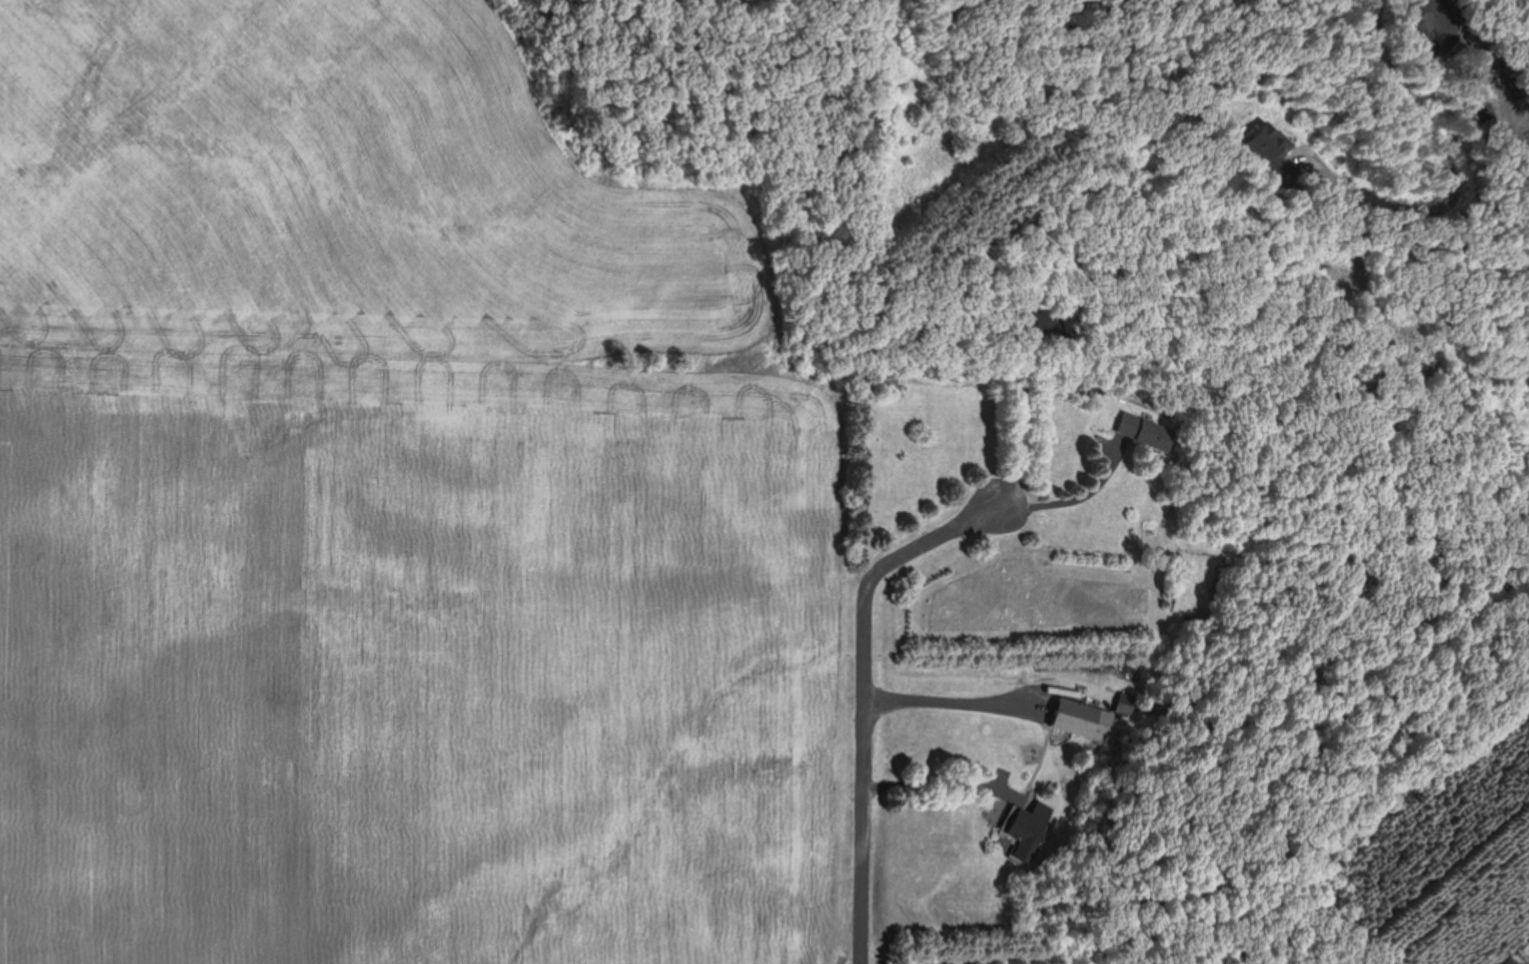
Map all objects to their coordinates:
road: (1430, 28)
road: (1478, 38)
building: (1274, 149)
road: (1447, 159)
building: (887, 380)
building: (1150, 425)
road: (1072, 498)
road: (862, 692)
road: (945, 700)
building: (1088, 711)
road: (925, 786)
building: (1036, 821)

